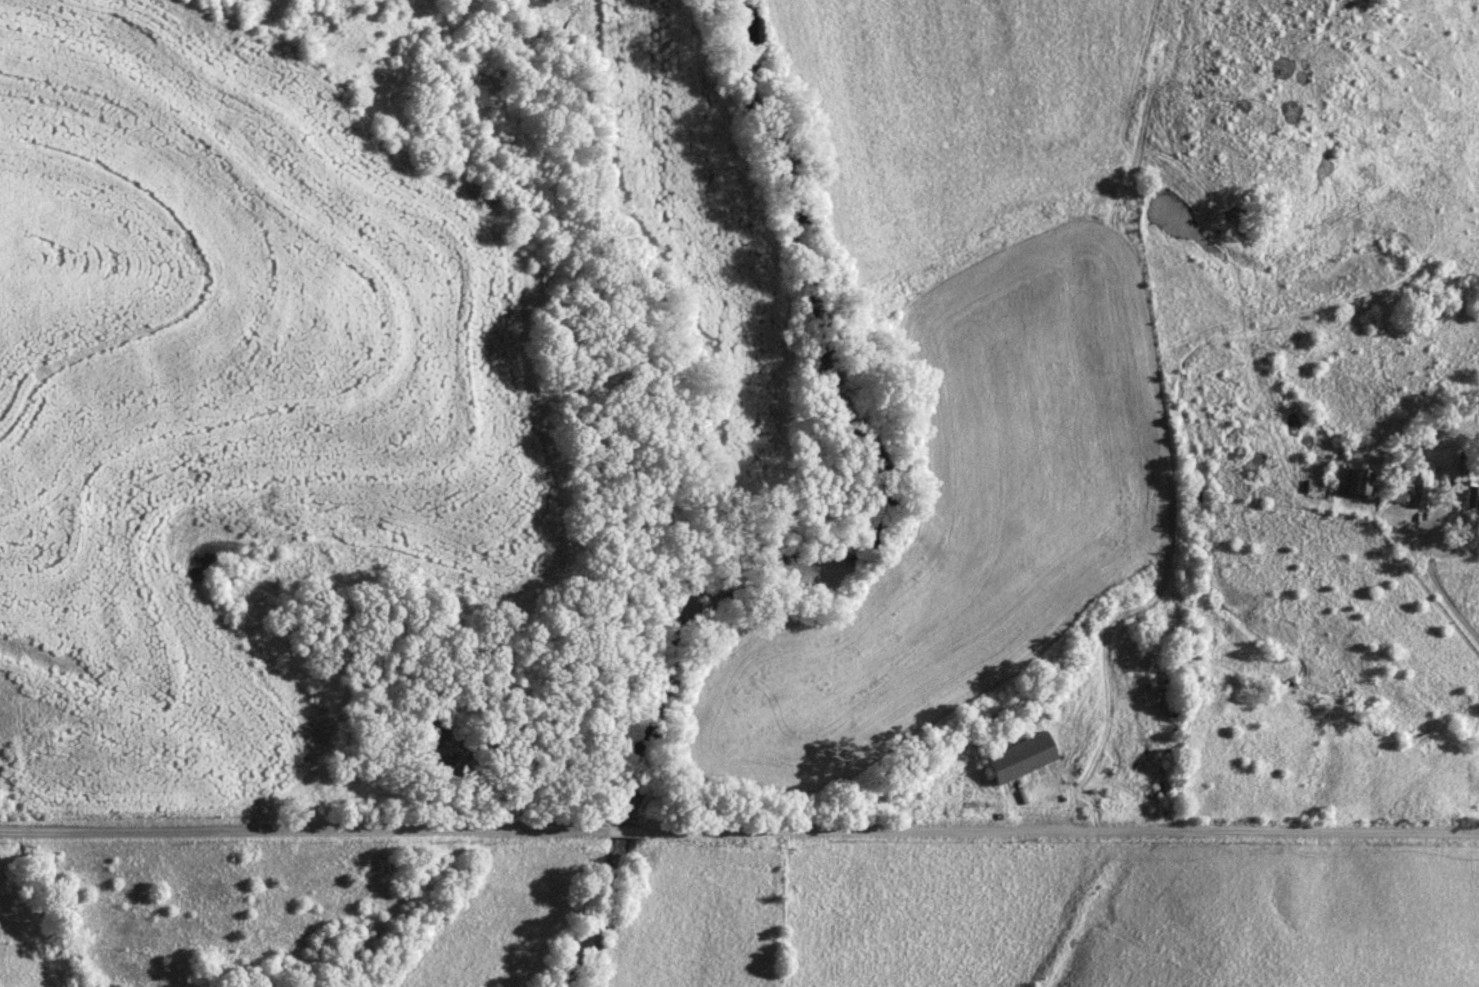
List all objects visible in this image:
building: (1356, 484)
building: (1409, 493)
building: (1471, 496)
road: (1455, 596)
road: (1125, 739)
building: (1017, 759)
road: (1124, 788)
road: (740, 837)

